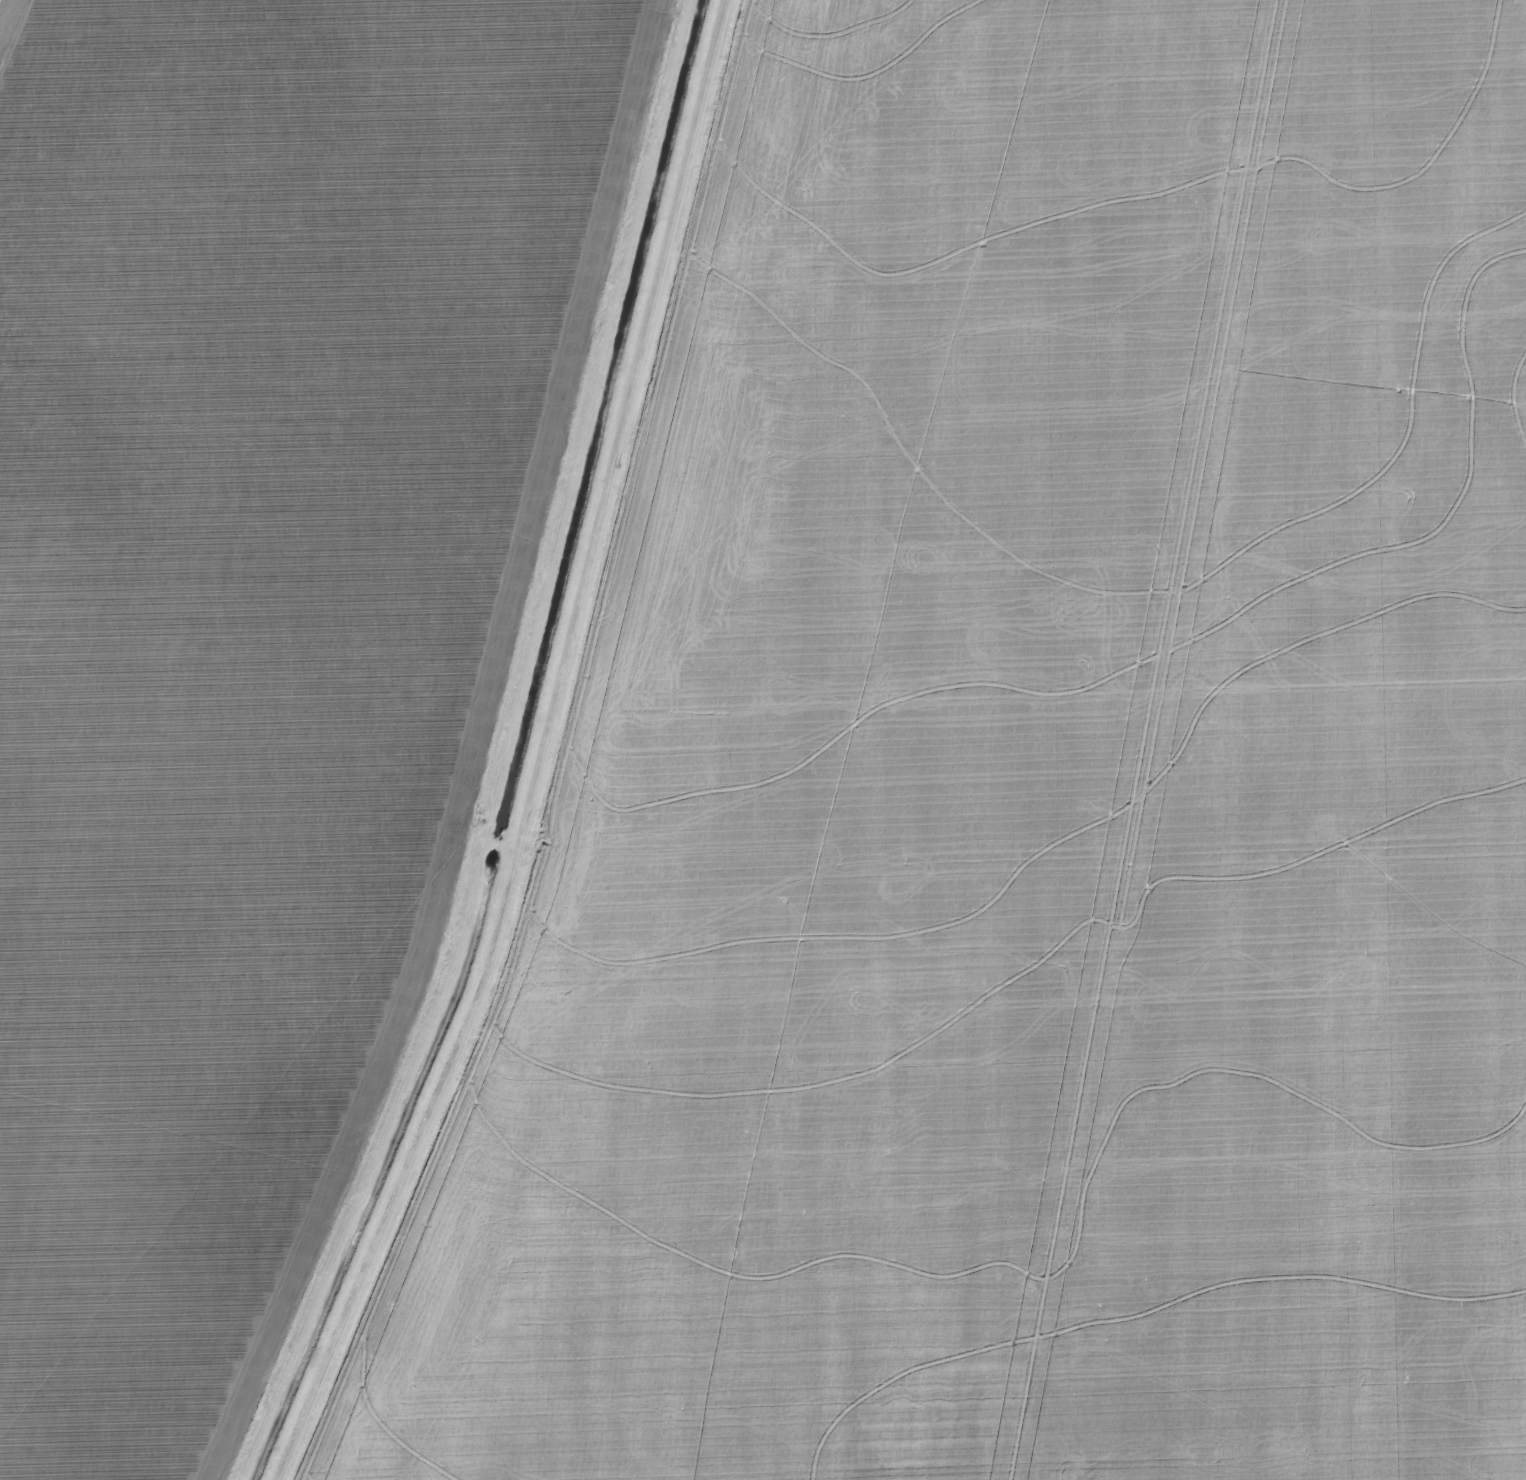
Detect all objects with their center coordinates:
road: (547, 752)

